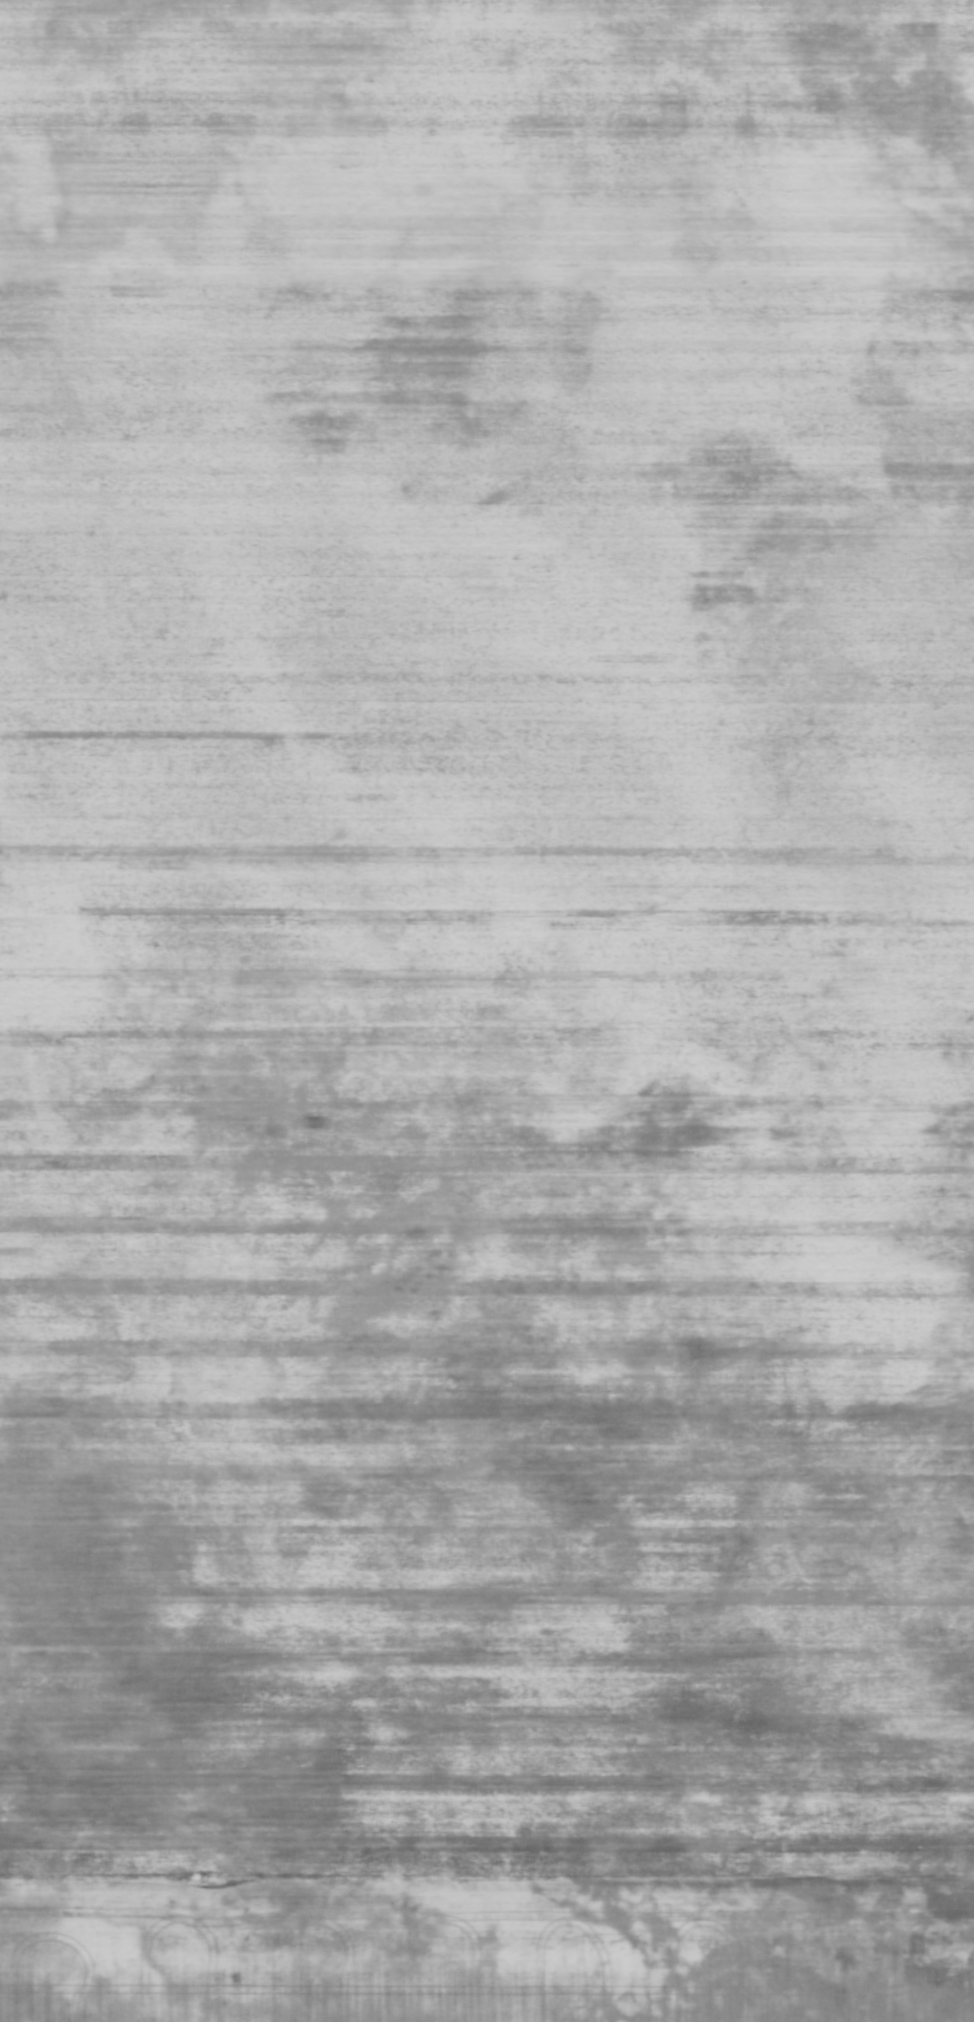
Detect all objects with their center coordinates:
road: (486, 1880)

